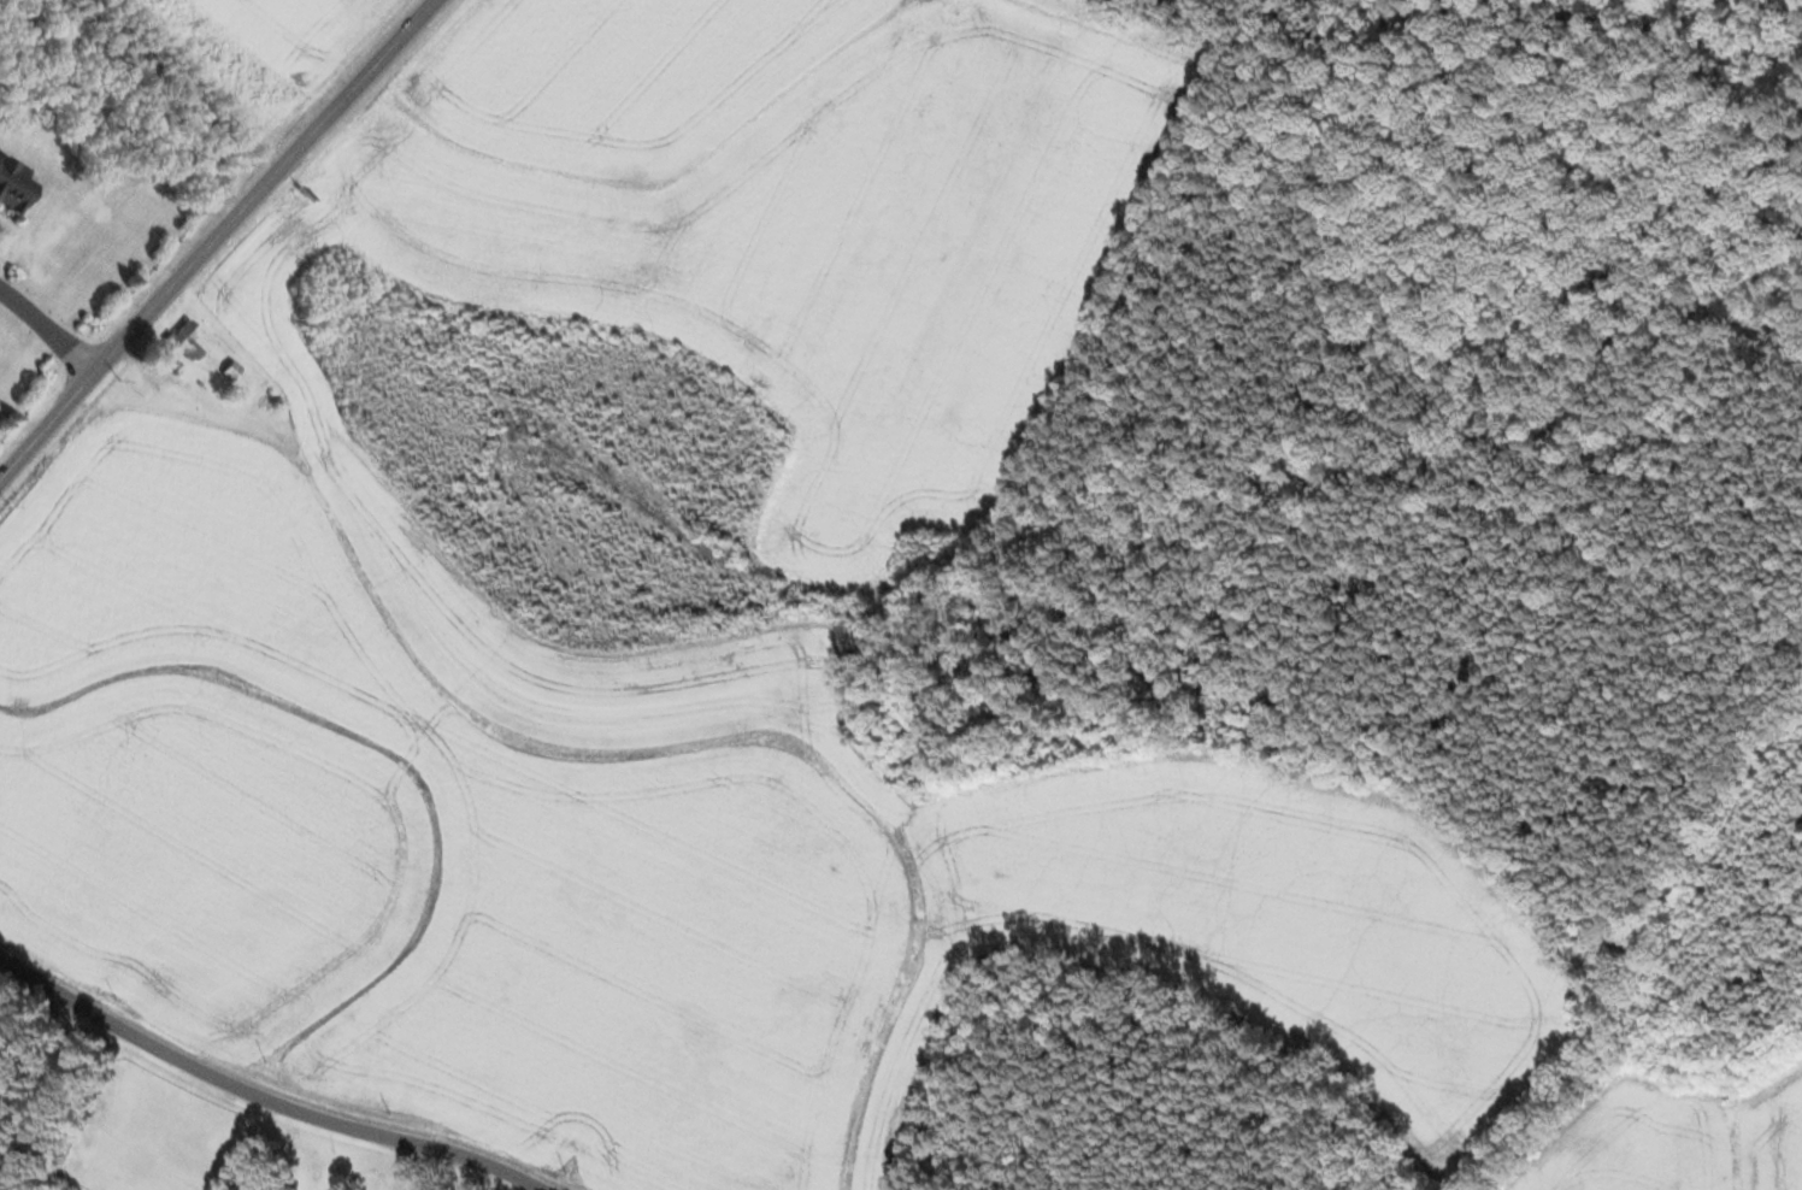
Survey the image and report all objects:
power tower: (308, 102)
building: (12, 188)
power tower: (205, 211)
road: (216, 240)
road: (49, 331)
building: (179, 338)
building: (230, 371)
power tower: (120, 381)
power tower: (8, 506)
road: (258, 1100)

